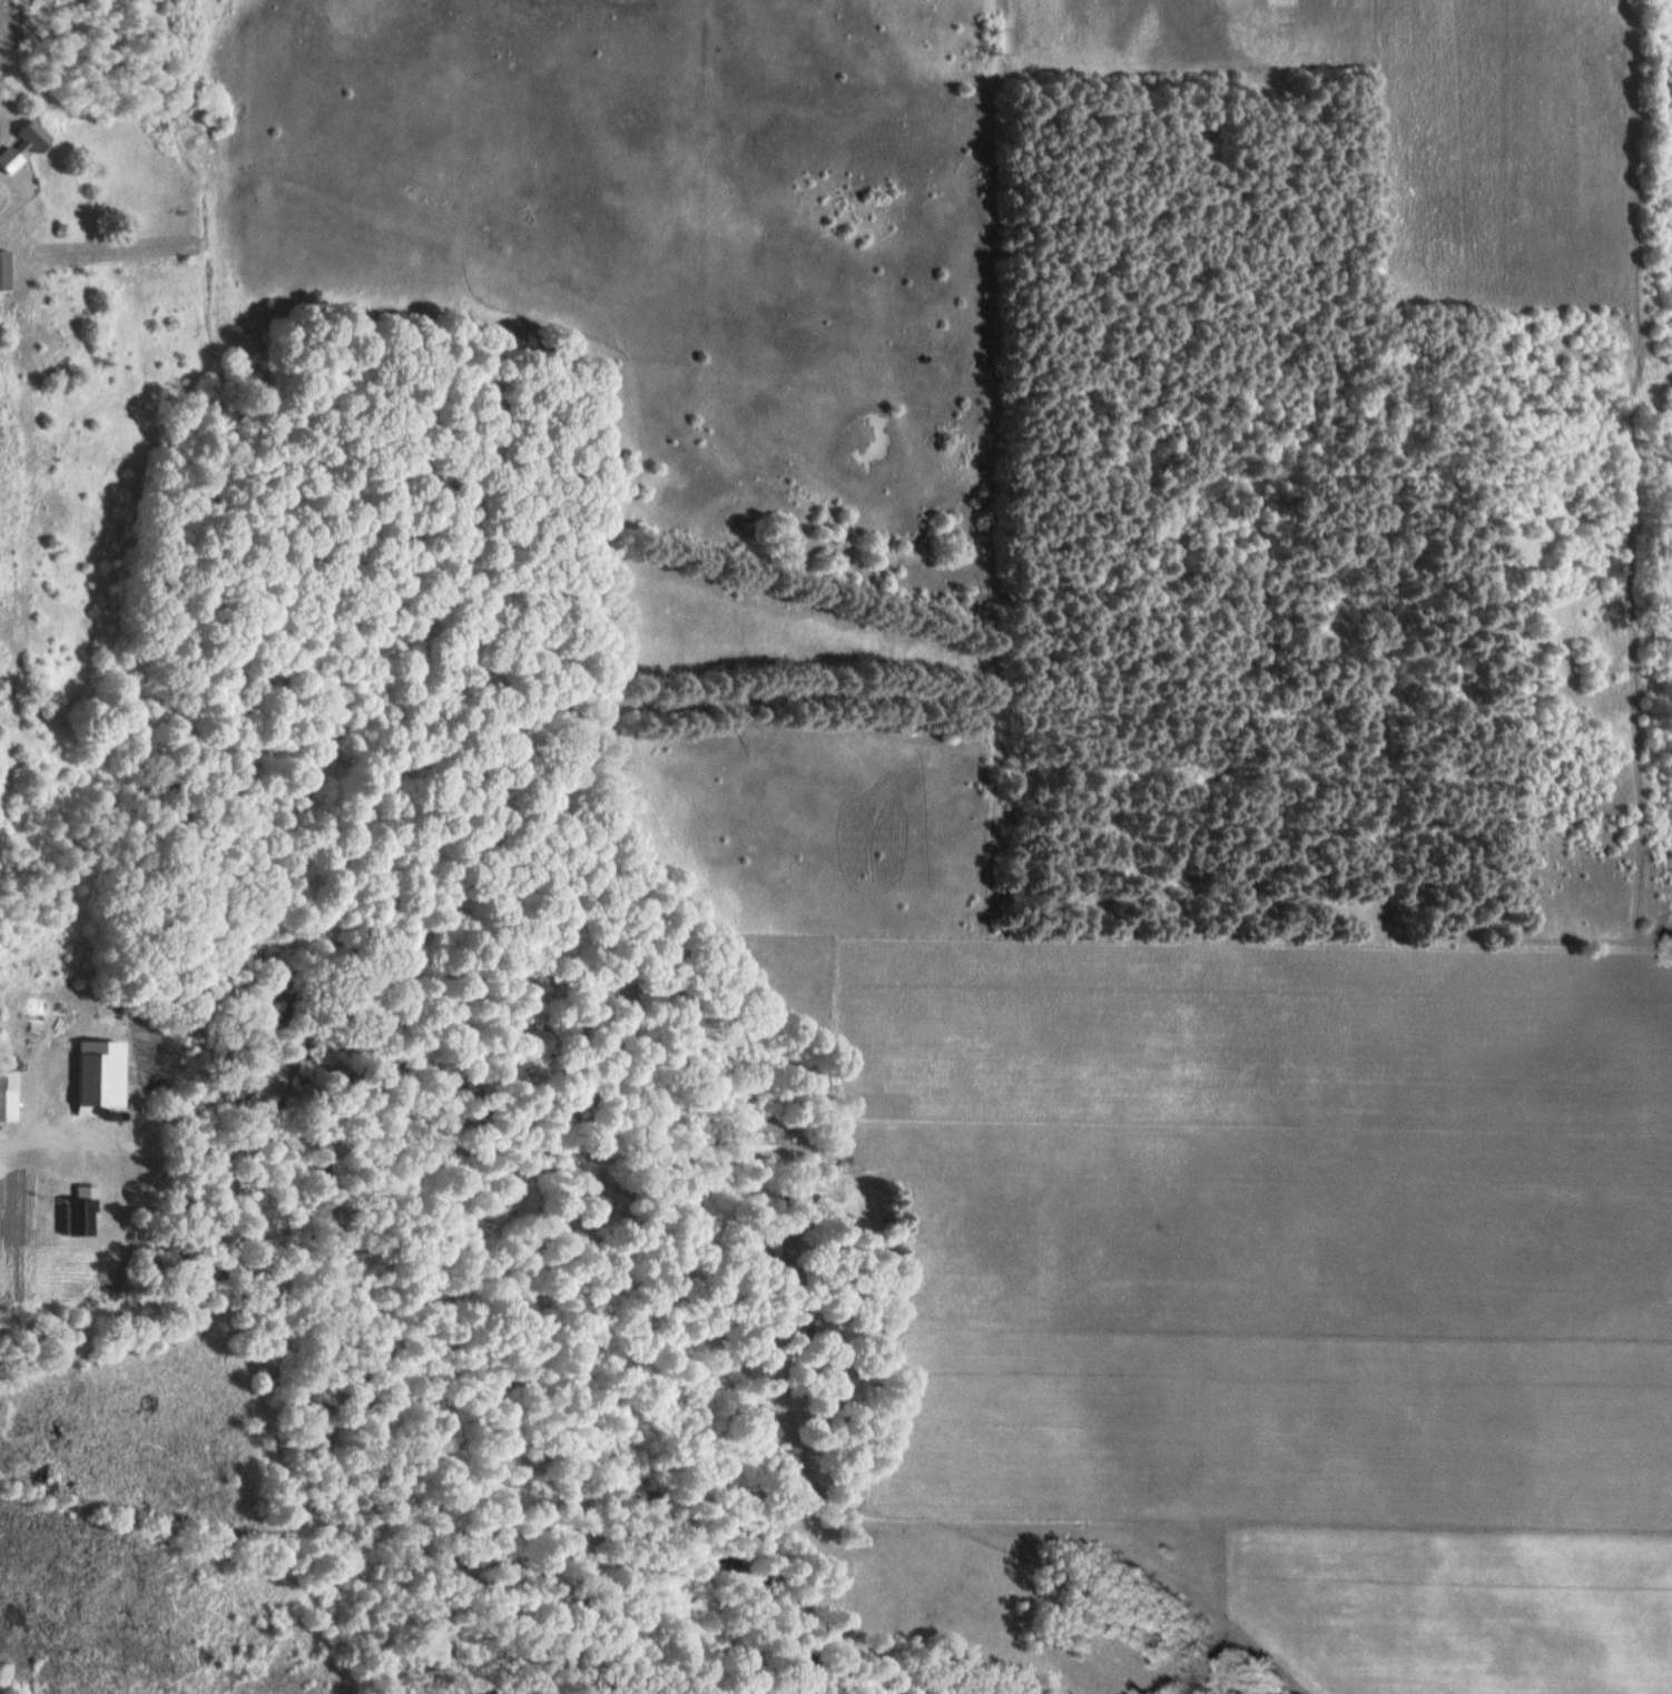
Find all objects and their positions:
building: (27, 130)
building: (10, 156)
building: (3, 268)

